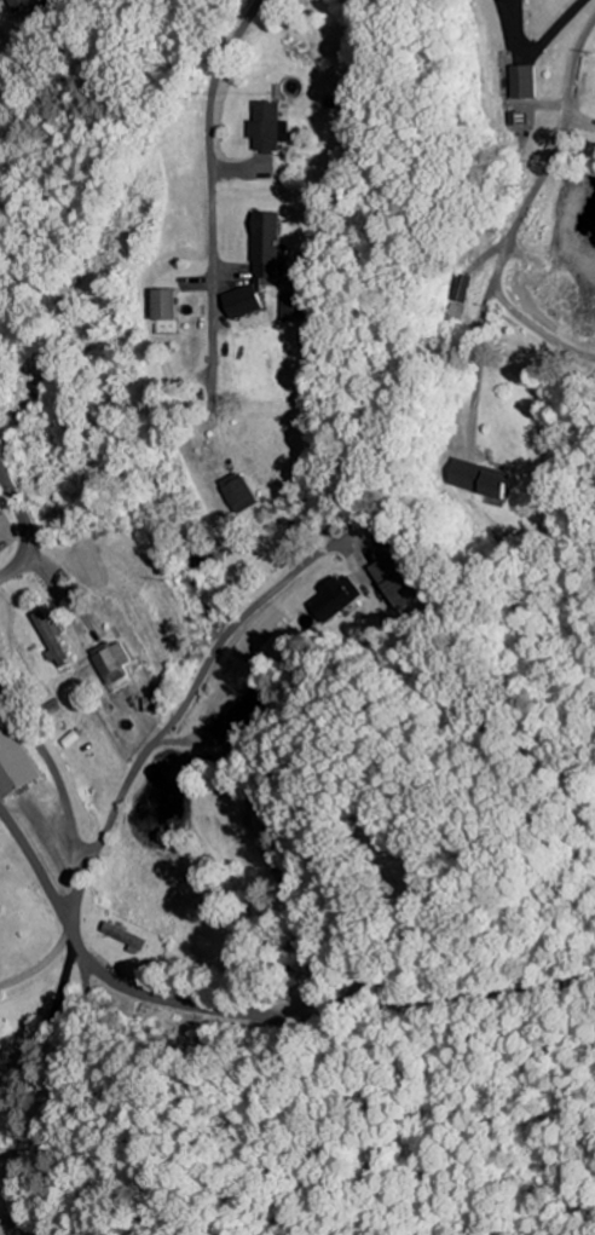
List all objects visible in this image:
building: (17, 5)
road: (535, 45)
building: (518, 82)
building: (275, 127)
road: (538, 150)
road: (216, 184)
building: (262, 265)
building: (167, 304)
building: (296, 307)
road: (528, 335)
road: (480, 367)
building: (480, 478)
building: (241, 492)
road: (25, 524)
building: (406, 589)
building: (343, 598)
building: (53, 639)
building: (116, 662)
building: (247, 716)
road: (175, 722)
building: (13, 761)
road: (51, 769)
building: (265, 816)
park: (389, 833)
road: (37, 872)
road: (418, 941)
road: (316, 950)
road: (39, 966)
road: (93, 966)
road: (460, 1004)
road: (223, 1012)
road: (46, 1031)
road: (65, 1093)

